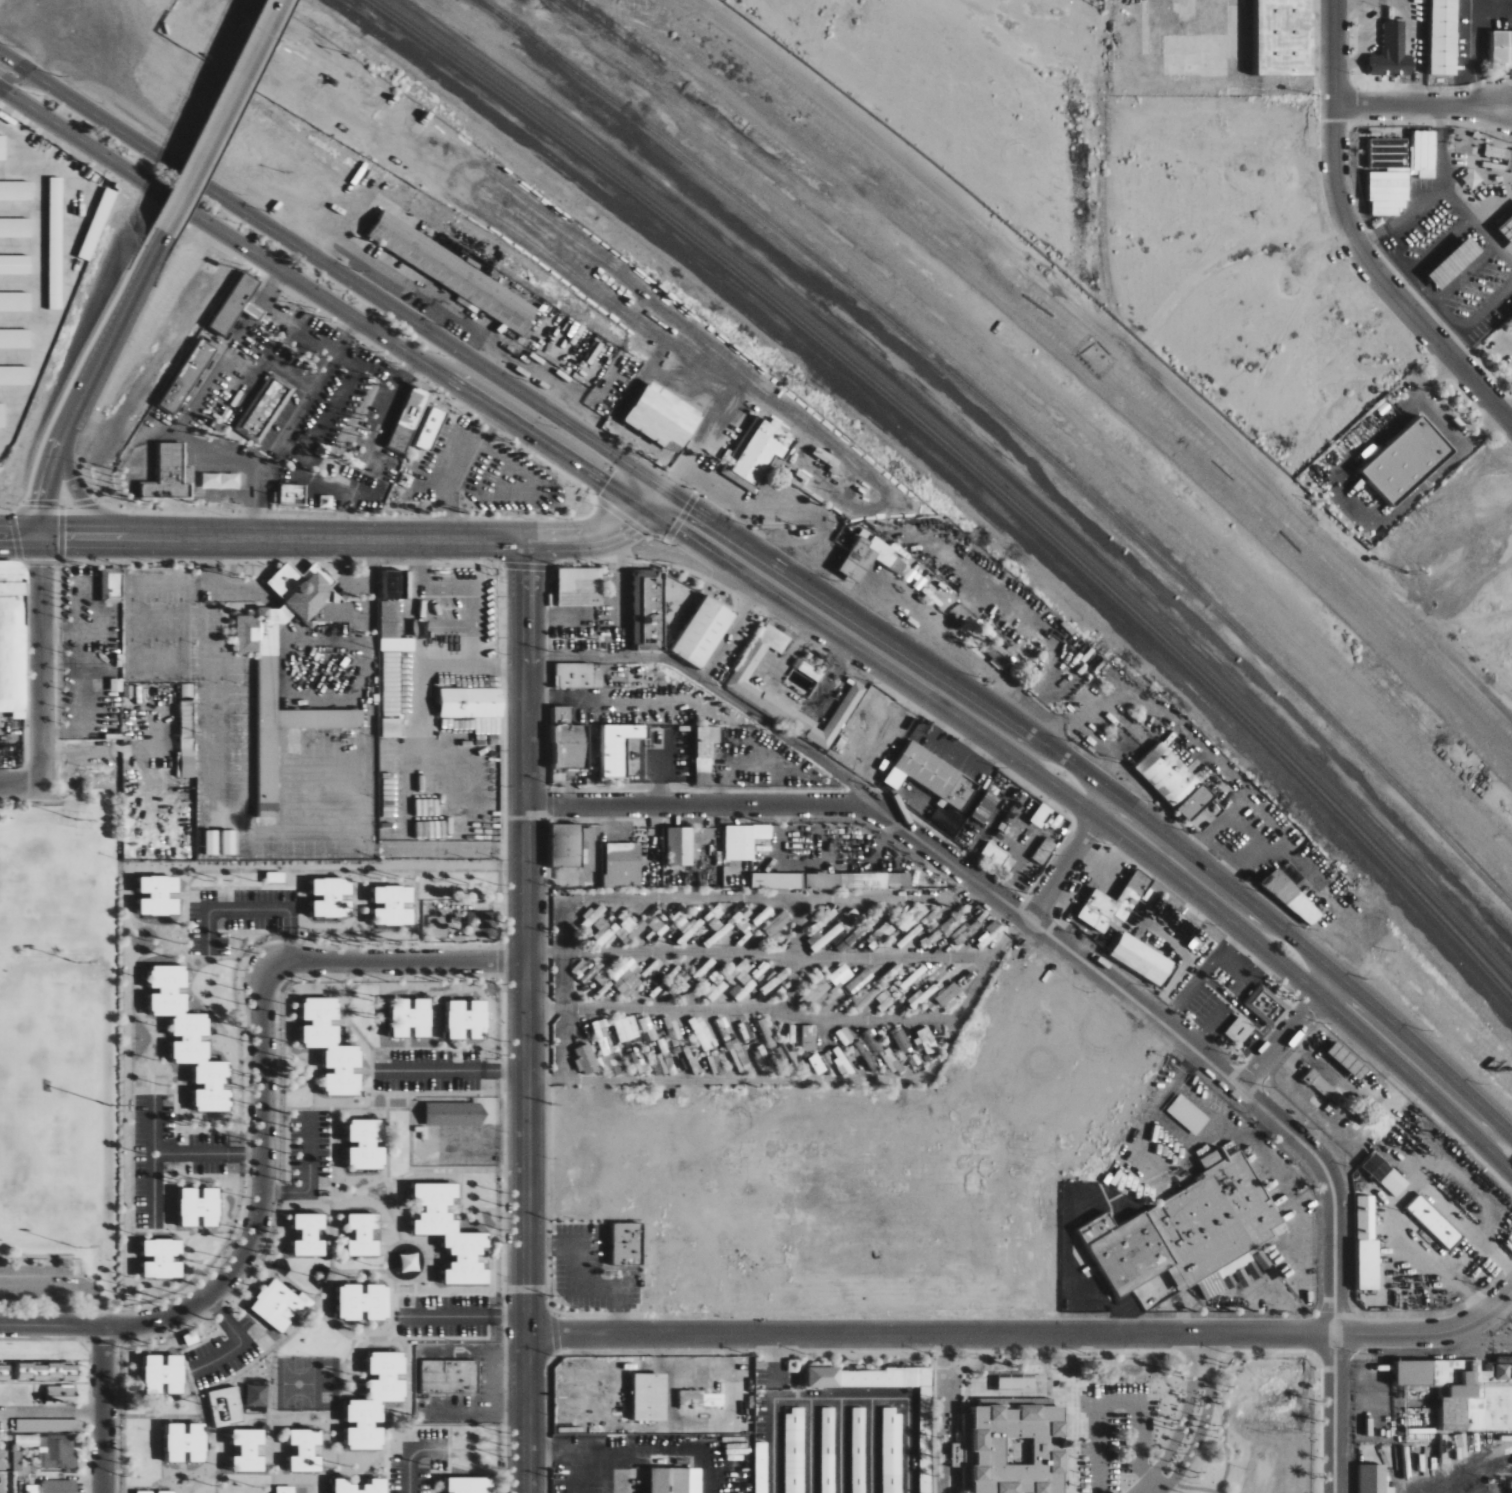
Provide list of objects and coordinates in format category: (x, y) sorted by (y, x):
railway: (487, 6)
building: (1286, 37)
building: (1438, 37)
building: (1388, 53)
road: (48, 77)
road: (20, 83)
road: (1421, 100)
road: (221, 117)
building: (3, 147)
building: (1393, 171)
building: (16, 191)
building: (98, 224)
building: (16, 227)
road: (1353, 239)
building: (56, 243)
road: (310, 257)
building: (15, 265)
building: (457, 275)
road: (303, 284)
building: (16, 301)
building: (236, 304)
building: (1510, 316)
building: (16, 338)
road: (111, 340)
building: (15, 376)
building: (188, 377)
road: (341, 405)
road: (511, 406)
building: (265, 408)
building: (2, 416)
building: (664, 418)
building: (409, 420)
railway: (1015, 427)
road: (174, 428)
building: (432, 428)
building: (758, 452)
road: (262, 459)
railway: (973, 460)
road: (686, 461)
building: (1409, 461)
road: (451, 466)
railway: (968, 467)
road: (50, 473)
building: (171, 474)
traffic signals: (613, 474)
road: (642, 474)
traffic signals: (674, 477)
road: (671, 479)
building: (221, 480)
traffic signals: (607, 483)
road: (636, 485)
building: (293, 494)
road: (626, 495)
road: (654, 498)
road: (677, 498)
traffic signals: (45, 501)
road: (84, 503)
road: (666, 508)
traffic signals: (692, 508)
road: (636, 517)
road: (44, 518)
traffic signals: (686, 518)
road: (662, 519)
traffic signals: (628, 526)
road: (6, 536)
traffic signals: (12, 536)
road: (27, 536)
road: (54, 536)
traffic signals: (65, 536)
road: (294, 538)
road: (577, 540)
road: (42, 553)
building: (867, 558)
traffic signals: (41, 571)
building: (112, 585)
building: (580, 587)
building: (302, 591)
building: (650, 611)
building: (393, 629)
building: (705, 632)
road: (881, 633)
building: (12, 638)
road: (875, 644)
building: (996, 656)
road: (671, 661)
road: (880, 663)
building: (808, 670)
building: (574, 676)
road: (41, 677)
building: (117, 685)
building: (742, 689)
building: (472, 703)
building: (311, 719)
building: (392, 728)
building: (187, 731)
road: (787, 736)
road: (20, 738)
building: (570, 741)
building: (621, 747)
building: (706, 753)
building: (928, 770)
building: (1167, 774)
road: (21, 784)
road: (1098, 797)
building: (986, 808)
road: (1088, 809)
building: (1202, 809)
building: (960, 829)
building: (744, 841)
building: (212, 842)
building: (229, 842)
building: (567, 845)
building: (680, 847)
building: (999, 857)
building: (624, 866)
road: (1064, 869)
road: (1195, 874)
road: (965, 875)
building: (276, 877)
building: (832, 881)
park: (53, 885)
building: (160, 896)
road: (1202, 896)
building: (333, 898)
building: (1287, 898)
building: (394, 906)
building: (1109, 910)
building: (594, 914)
building: (481, 924)
building: (604, 931)
building: (656, 931)
building: (628, 932)
building: (880, 936)
building: (827, 938)
road: (1296, 942)
road: (775, 948)
road: (396, 958)
building: (1139, 959)
road: (561, 965)
building: (733, 975)
road: (1321, 976)
building: (627, 983)
building: (854, 985)
building: (717, 987)
road: (1312, 987)
building: (744, 989)
building: (817, 992)
building: (948, 995)
building: (890, 996)
building: (1262, 1005)
road: (818, 1007)
road: (525, 1016)
building: (412, 1019)
building: (468, 1020)
park: (53, 1022)
building: (627, 1029)
building: (648, 1029)
building: (1235, 1030)
building: (601, 1031)
building: (843, 1033)
building: (702, 1034)
building: (810, 1038)
building: (191, 1039)
building: (874, 1041)
building: (928, 1041)
road: (1279, 1042)
building: (332, 1047)
building: (665, 1058)
building: (587, 1060)
building: (1342, 1060)
building: (764, 1061)
building: (817, 1064)
building: (843, 1065)
road: (1418, 1065)
road: (453, 1070)
road: (1417, 1082)
building: (1316, 1084)
road: (1161, 1092)
building: (455, 1114)
building: (1184, 1114)
building: (367, 1143)
park: (53, 1152)
road: (207, 1152)
road: (153, 1163)
road: (308, 1178)
building: (1391, 1182)
road: (1283, 1185)
road: (260, 1197)
building: (200, 1206)
building: (1431, 1221)
building: (1184, 1232)
building: (451, 1233)
road: (1068, 1233)
building: (310, 1234)
building: (364, 1234)
building: (1361, 1242)
building: (628, 1243)
building: (163, 1258)
road: (583, 1276)
parking lot: (35, 1284)
road: (62, 1284)
road: (1220, 1299)
building: (364, 1301)
building: (277, 1304)
building: (305, 1304)
road: (464, 1316)
road: (50, 1324)
road: (1334, 1327)
road: (1024, 1329)
road: (241, 1340)
road: (1200, 1348)
road: (773, 1365)
building: (1494, 1372)
building: (164, 1373)
building: (1406, 1373)
building: (45, 1374)
building: (450, 1376)
building: (1017, 1380)
building: (651, 1396)
road: (841, 1398)
building: (692, 1399)
building: (376, 1400)
road: (1117, 1400)
building: (226, 1406)
road: (102, 1408)
road: (941, 1411)
road: (51, 1412)
building: (71, 1425)
building: (925, 1426)
road: (1178, 1433)
road: (1198, 1438)
building: (187, 1442)
road: (871, 1445)
road: (811, 1446)
road: (841, 1446)
road: (565, 1447)
road: (689, 1448)
building: (249, 1449)
building: (1015, 1449)
building: (306, 1450)
building: (828, 1450)
building: (858, 1450)
building: (892, 1450)
building: (56, 1451)
building: (794, 1451)
road: (409, 1455)
building: (3, 1459)
building: (761, 1467)
road: (572, 1470)
road: (609, 1470)
road: (696, 1471)
building: (1368, 1478)
building: (676, 1480)
building: (471, 1484)
building: (376, 1485)
building: (59, 1486)
building: (145, 1491)
building: (167, 1491)

